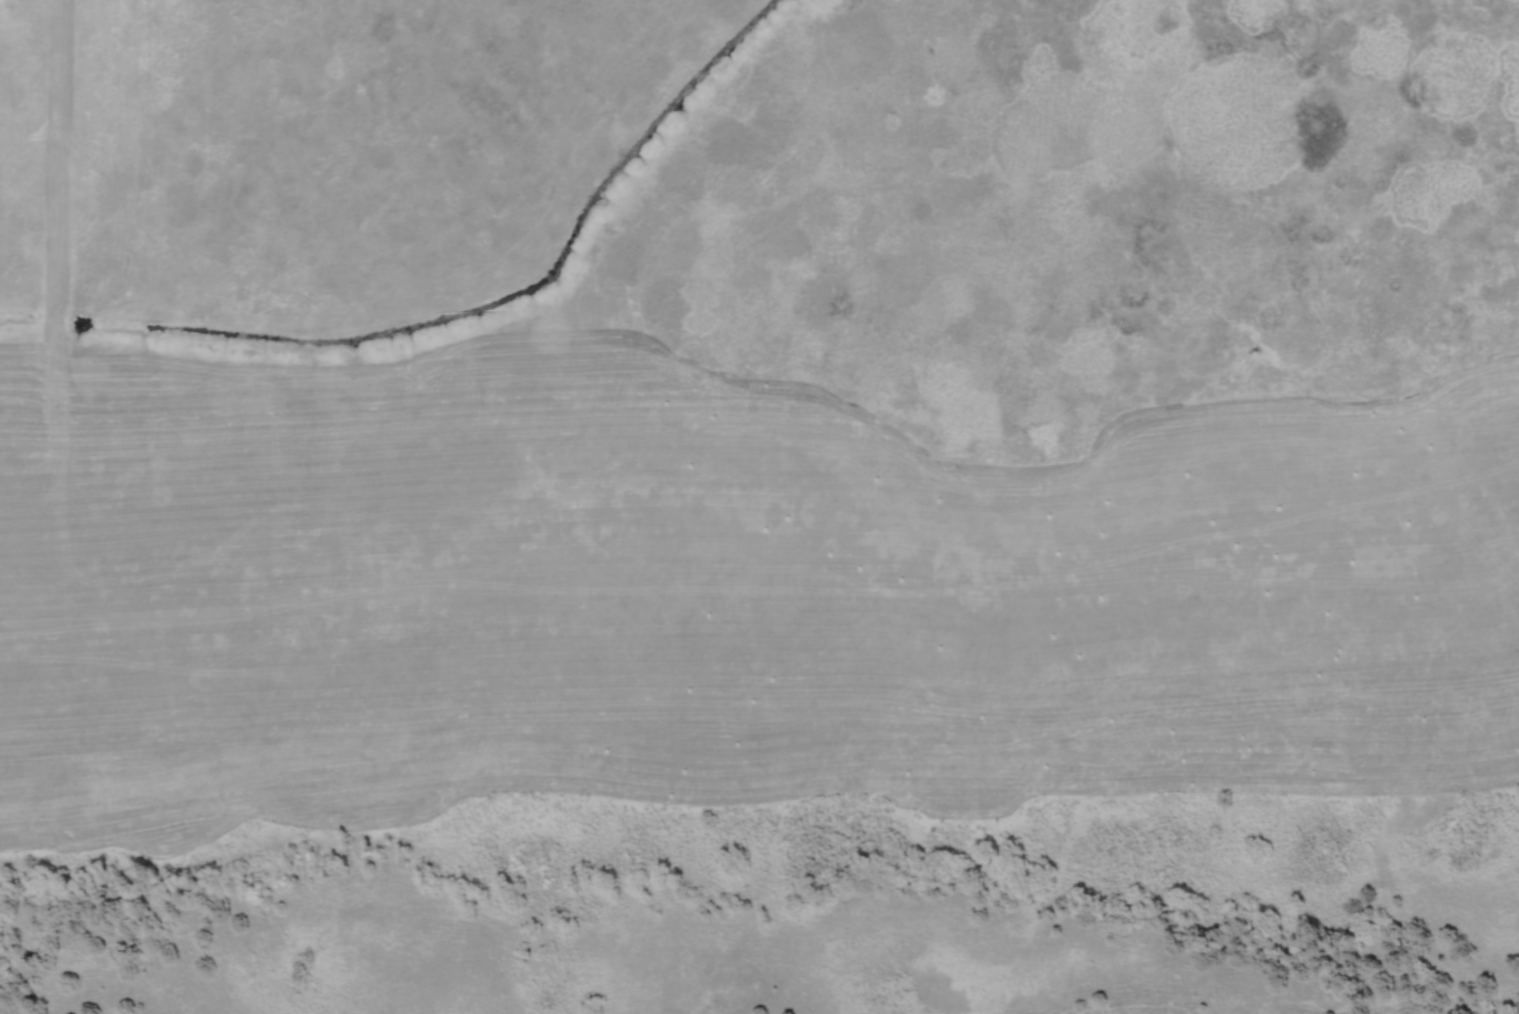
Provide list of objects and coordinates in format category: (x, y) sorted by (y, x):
airport runway: (759, 571)

